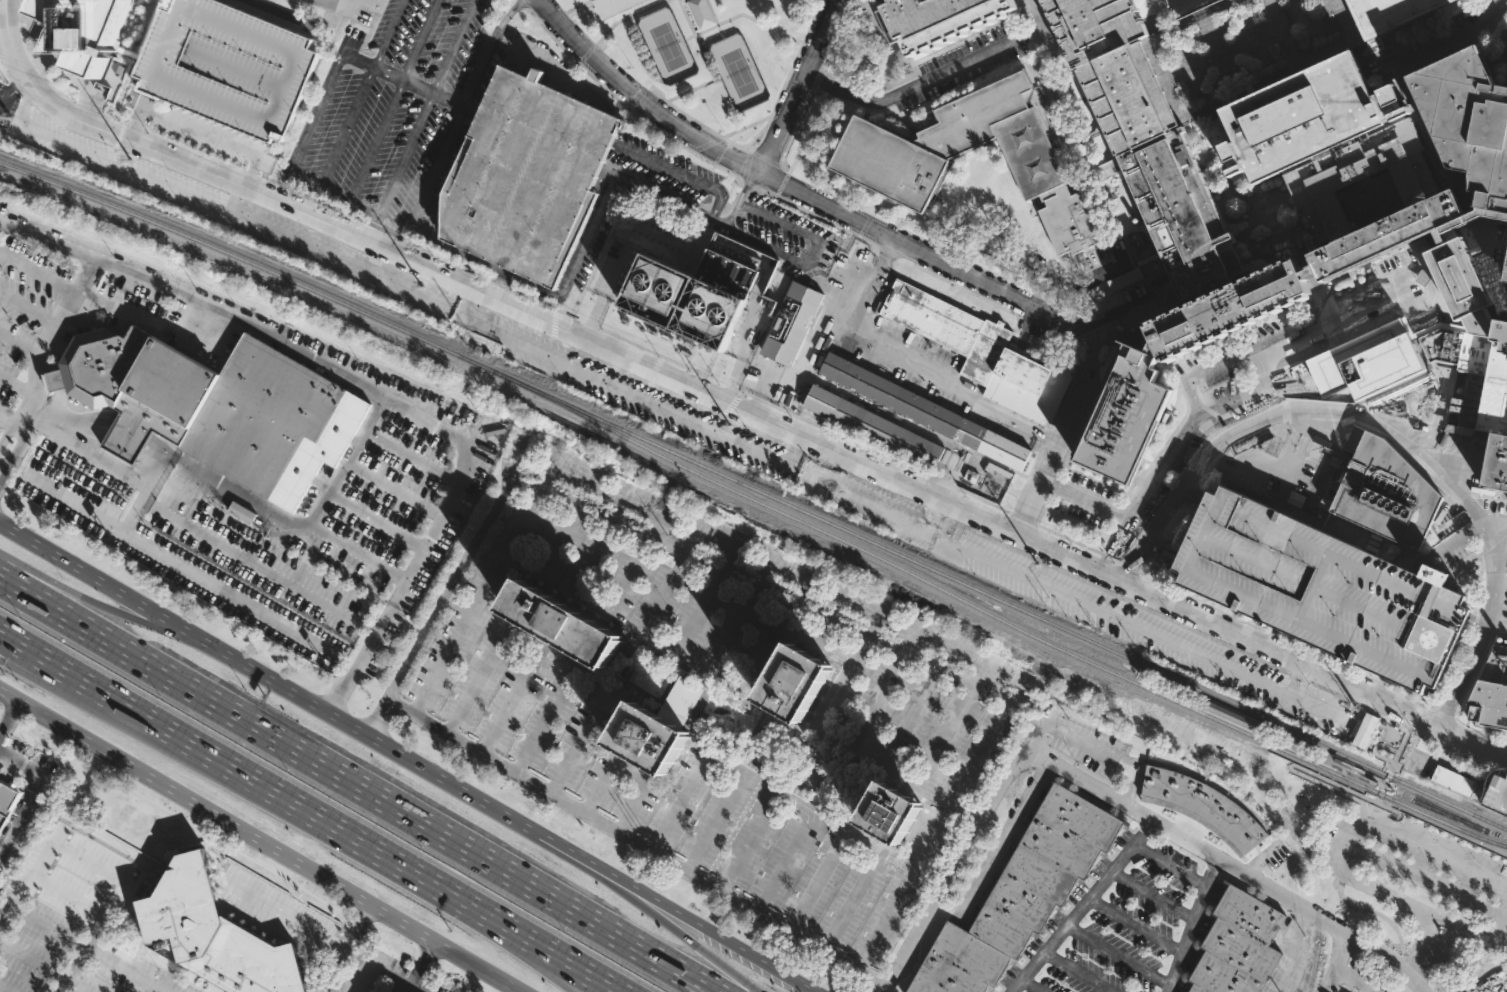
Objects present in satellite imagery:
building: (613, 6)
building: (1185, 6)
road: (340, 7)
road: (578, 8)
building: (701, 12)
building: (1396, 12)
road: (29, 15)
road: (745, 15)
road: (629, 17)
road: (4, 18)
building: (933, 18)
road: (20, 20)
building: (150, 25)
road: (26, 27)
building: (83, 29)
road: (723, 33)
road: (54, 37)
road: (48, 42)
road: (26, 46)
park: (1243, 46)
road: (1499, 46)
park: (667, 47)
building: (1243, 48)
road: (6, 49)
road: (484, 49)
parking lot: (963, 63)
road: (38, 64)
building: (227, 64)
parking garage: (227, 64)
road: (709, 64)
road: (36, 67)
park: (738, 73)
road: (408, 83)
road: (913, 85)
road: (797, 86)
road: (13, 88)
road: (58, 92)
road: (361, 96)
road: (635, 98)
road: (393, 103)
parking lot: (397, 108)
road: (425, 109)
road: (87, 110)
building: (1307, 114)
road: (110, 119)
building: (1468, 120)
road: (131, 126)
road: (198, 132)
building: (1148, 140)
road: (538, 142)
road: (192, 150)
power tower: (126, 158)
building: (890, 159)
road: (291, 161)
road: (436, 170)
road: (249, 173)
building: (1359, 173)
building: (527, 174)
parking garage: (527, 174)
road: (231, 199)
road: (740, 199)
road: (670, 201)
road: (226, 213)
building: (1395, 232)
road: (876, 244)
road: (417, 248)
railway: (249, 261)
building: (1311, 271)
building: (1453, 272)
road: (36, 273)
building: (1506, 275)
building: (1123, 278)
road: (849, 280)
road: (78, 282)
building: (700, 291)
road: (552, 293)
road: (482, 295)
road: (601, 297)
road: (1015, 301)
building: (1228, 308)
road: (26, 310)
road: (554, 319)
building: (791, 322)
building: (1481, 322)
building: (1425, 330)
road: (875, 337)
building: (981, 351)
building: (1372, 354)
road: (1267, 371)
building: (1327, 374)
building: (1476, 389)
road: (24, 390)
road: (751, 404)
building: (214, 407)
building: (926, 412)
road: (426, 413)
building: (1124, 416)
road: (10, 423)
building: (874, 427)
road: (7, 431)
road: (1388, 431)
road: (1048, 436)
parking lot: (229, 444)
road: (85, 447)
road: (14, 456)
road: (151, 463)
road: (4, 465)
building: (988, 480)
building: (1388, 492)
road: (1193, 496)
road: (131, 504)
building: (241, 512)
road: (284, 520)
road: (235, 555)
road: (1072, 559)
road: (176, 563)
road: (488, 577)
building: (1322, 589)
parking garage: (1322, 589)
railway: (999, 601)
building: (1072, 606)
road: (115, 609)
railway: (996, 617)
building: (561, 626)
building: (1126, 628)
helipad: (1431, 638)
building: (1168, 650)
road: (1280, 654)
road: (438, 663)
building: (1210, 669)
road: (1359, 674)
building: (795, 682)
road: (473, 683)
building: (1491, 690)
road: (102, 691)
road: (1462, 694)
building: (1267, 695)
road: (102, 703)
parking lot: (712, 707)
road: (508, 710)
road: (8, 715)
road: (542, 723)
road: (985, 723)
road: (1408, 728)
road: (581, 741)
building: (651, 741)
road: (1472, 744)
road: (1373, 747)
road: (1457, 751)
road: (405, 758)
road: (721, 766)
road: (630, 772)
road: (1376, 778)
building: (1455, 782)
road: (354, 786)
railway: (1375, 787)
road: (29, 794)
building: (1498, 796)
parking garage: (1498, 796)
building: (7, 798)
road: (1113, 798)
road: (1362, 803)
road: (1383, 805)
road: (793, 807)
building: (1203, 808)
road: (1380, 812)
building: (892, 814)
road: (1398, 815)
road: (350, 834)
road: (51, 839)
road: (260, 841)
road: (863, 841)
road: (749, 842)
road: (783, 862)
road: (1338, 864)
building: (1020, 896)
road: (292, 906)
road: (1079, 906)
road: (1193, 925)
parking lot: (1127, 929)
building: (212, 931)
road: (677, 933)
building: (1238, 944)
road: (91, 948)
road: (344, 948)
road: (535, 957)
road: (554, 957)
road: (1424, 964)
road: (43, 966)
road: (417, 966)
road: (1339, 968)
road: (4, 989)
road: (411, 989)
building: (1499, 991)

